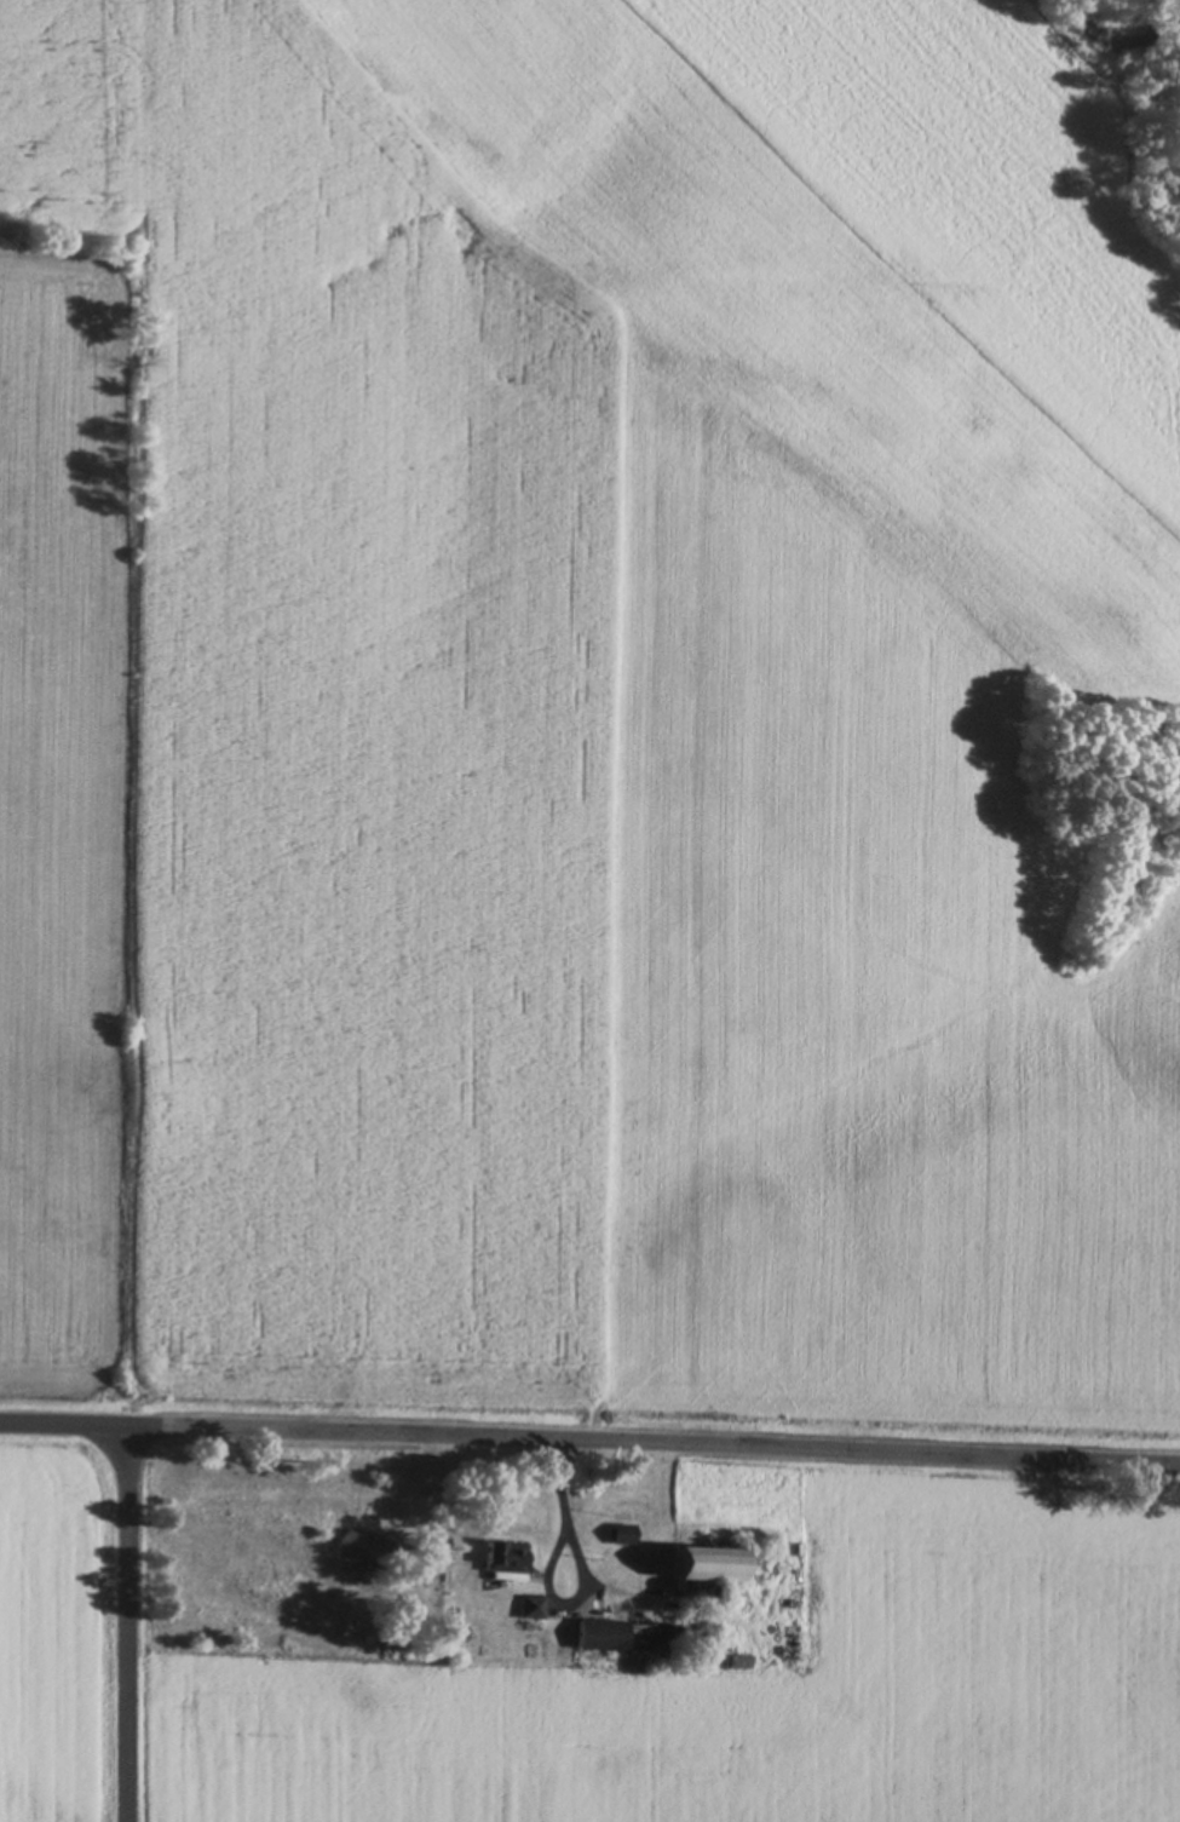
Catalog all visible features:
road: (65, 1462)
road: (656, 1477)
building: (626, 1533)
building: (508, 1554)
building: (714, 1563)
building: (534, 1605)
building: (605, 1632)
road: (132, 1643)

